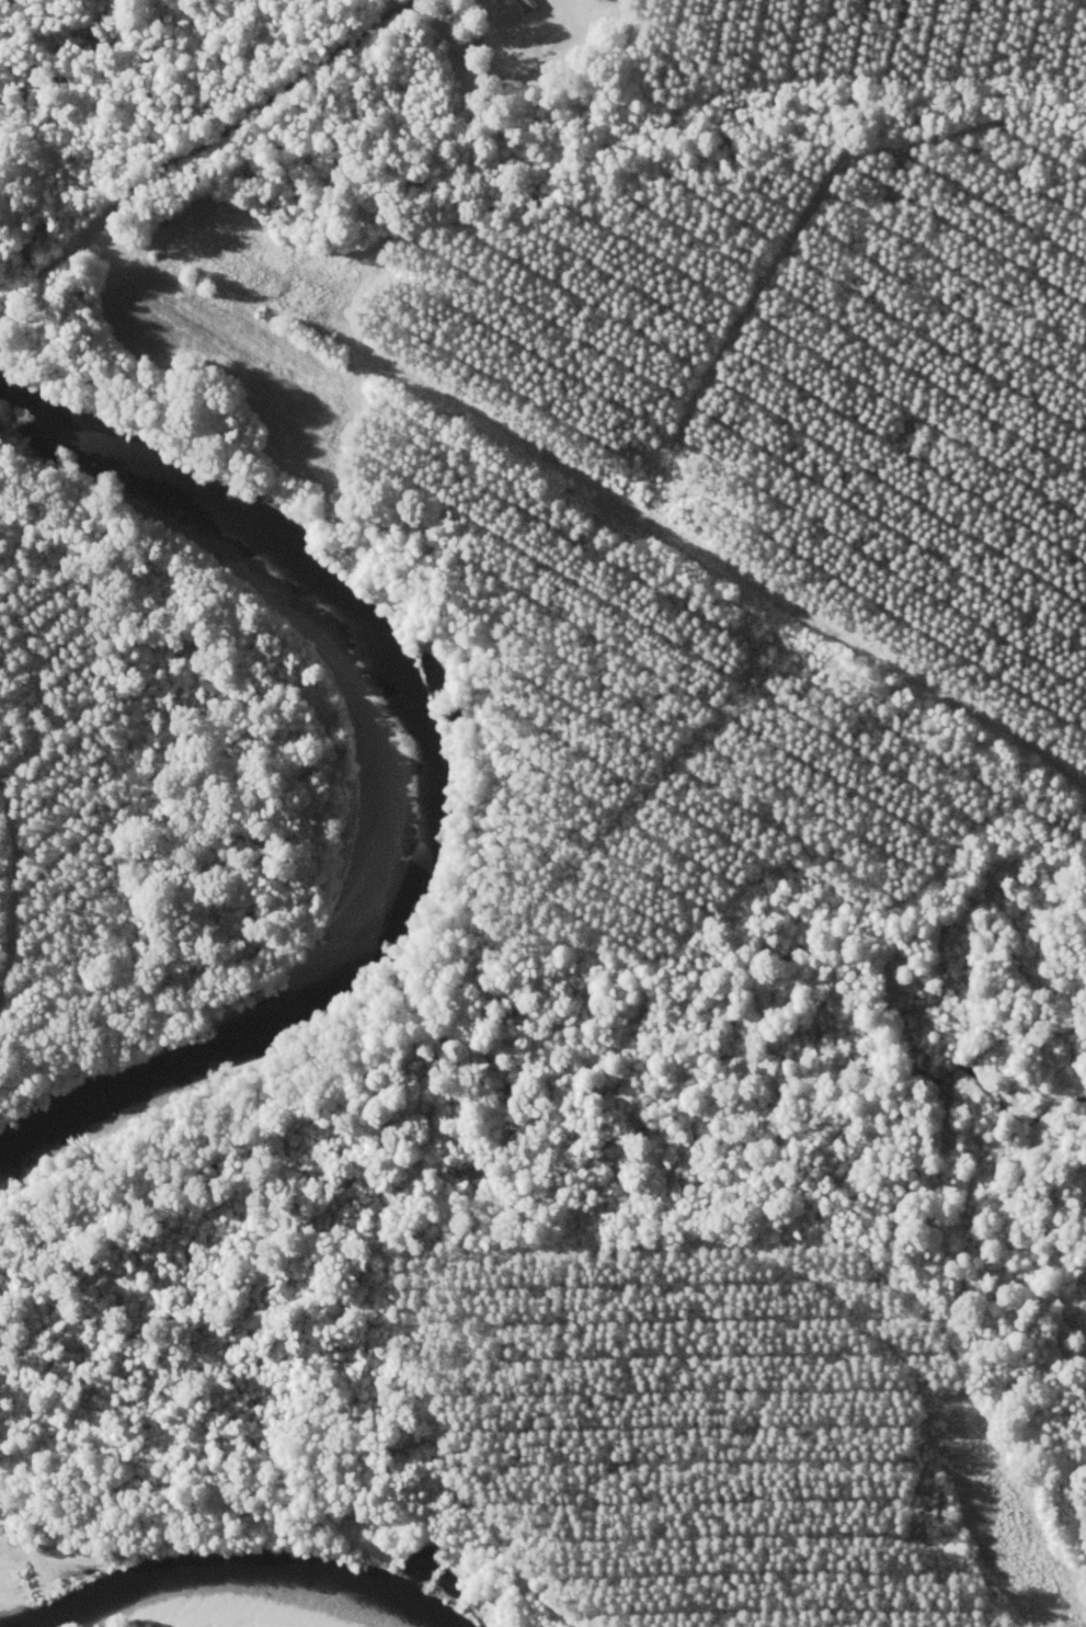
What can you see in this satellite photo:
building: (529, 5)
road: (235, 152)

